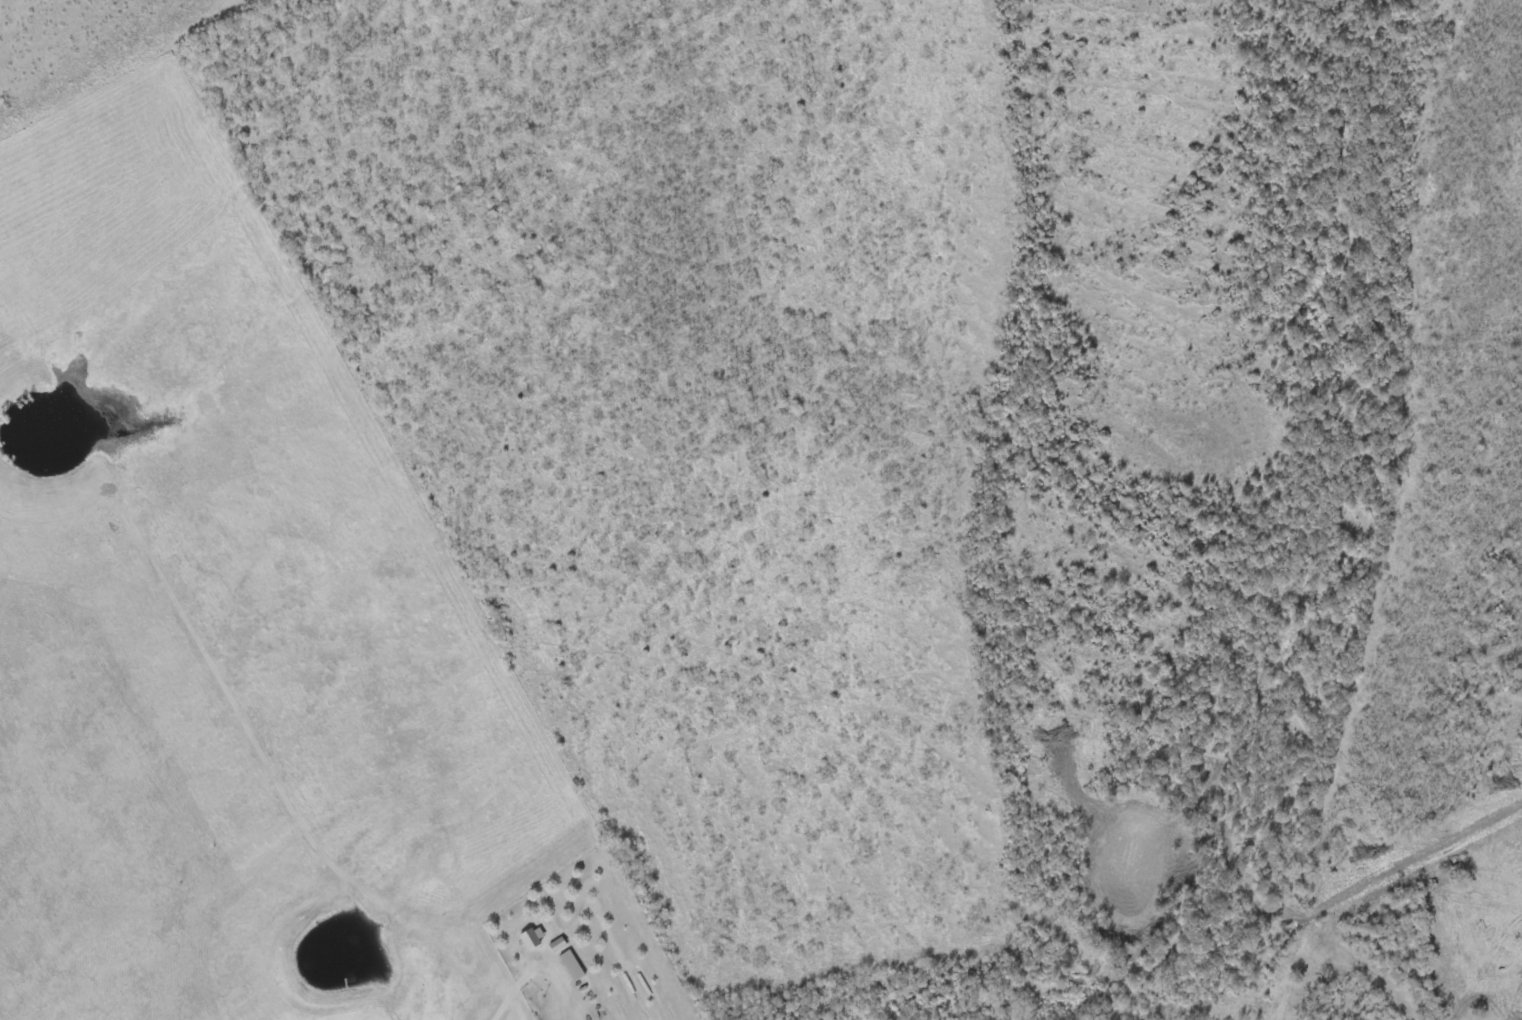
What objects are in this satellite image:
building: (532, 938)
road: (1435, 950)

